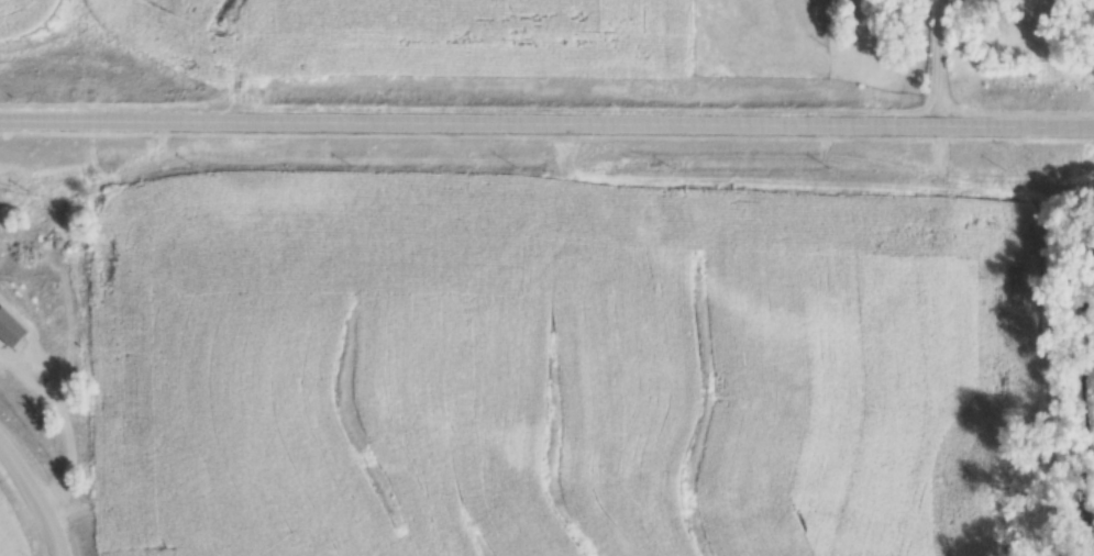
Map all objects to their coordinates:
road: (938, 62)
road: (546, 120)
building: (9, 326)
road: (33, 497)

